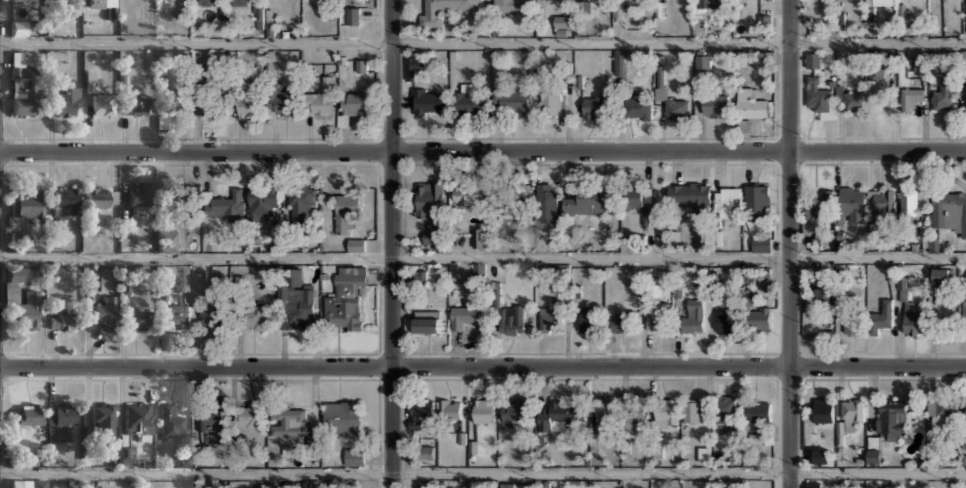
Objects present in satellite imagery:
building: (18, 0)
building: (183, 2)
building: (206, 2)
building: (240, 2)
building: (882, 2)
building: (96, 3)
building: (708, 3)
building: (510, 5)
building: (75, 6)
building: (583, 7)
building: (617, 9)
building: (353, 15)
building: (965, 15)
building: (430, 18)
building: (560, 25)
building: (18, 27)
road: (482, 42)
building: (765, 57)
building: (813, 59)
building: (919, 59)
building: (415, 65)
building: (361, 66)
building: (618, 68)
building: (22, 83)
building: (816, 93)
building: (174, 95)
building: (963, 95)
building: (911, 96)
building: (321, 97)
building: (552, 97)
building: (944, 97)
building: (849, 98)
building: (281, 100)
building: (427, 100)
building: (513, 100)
building: (65, 101)
building: (469, 102)
building: (135, 103)
building: (354, 103)
building: (750, 103)
building: (102, 104)
building: (248, 104)
building: (210, 105)
building: (714, 106)
building: (593, 107)
building: (636, 108)
building: (676, 108)
road: (483, 150)
building: (468, 194)
building: (691, 194)
building: (97, 196)
building: (138, 196)
building: (508, 197)
building: (635, 197)
building: (726, 198)
building: (429, 199)
building: (756, 199)
building: (65, 200)
building: (262, 202)
building: (546, 202)
building: (584, 202)
building: (852, 202)
building: (881, 202)
building: (300, 203)
building: (911, 203)
building: (821, 204)
building: (28, 205)
building: (224, 206)
building: (514, 210)
building: (346, 211)
building: (949, 211)
building: (433, 232)
building: (480, 237)
building: (634, 238)
building: (166, 241)
building: (761, 243)
building: (357, 244)
road: (390, 244)
road: (789, 244)
road: (483, 257)
building: (478, 270)
building: (941, 275)
building: (200, 283)
building: (822, 295)
building: (748, 297)
building: (21, 298)
building: (346, 298)
building: (297, 303)
building: (964, 308)
building: (103, 310)
building: (176, 314)
building: (692, 314)
building: (658, 315)
building: (468, 316)
building: (256, 317)
building: (550, 317)
building: (880, 317)
building: (214, 318)
building: (589, 318)
building: (512, 319)
building: (758, 319)
building: (61, 320)
building: (137, 320)
building: (724, 320)
building: (912, 320)
building: (424, 321)
building: (619, 321)
building: (851, 321)
road: (483, 367)
building: (450, 408)
building: (725, 408)
building: (852, 409)
building: (515, 410)
building: (635, 410)
building: (693, 410)
building: (757, 410)
building: (823, 410)
building: (419, 411)
building: (483, 411)
building: (603, 412)
building: (666, 412)
building: (28, 413)
building: (942, 414)
building: (248, 415)
building: (559, 415)
building: (343, 416)
building: (209, 417)
building: (102, 418)
building: (892, 418)
building: (138, 419)
building: (288, 420)
building: (170, 421)
building: (60, 422)
building: (965, 422)
building: (313, 442)
building: (426, 450)
building: (126, 454)
building: (874, 454)
building: (821, 455)
building: (238, 456)
building: (354, 456)
building: (183, 461)
road: (483, 472)
building: (28, 483)
building: (423, 484)
building: (507, 484)
building: (813, 484)
building: (90, 485)

